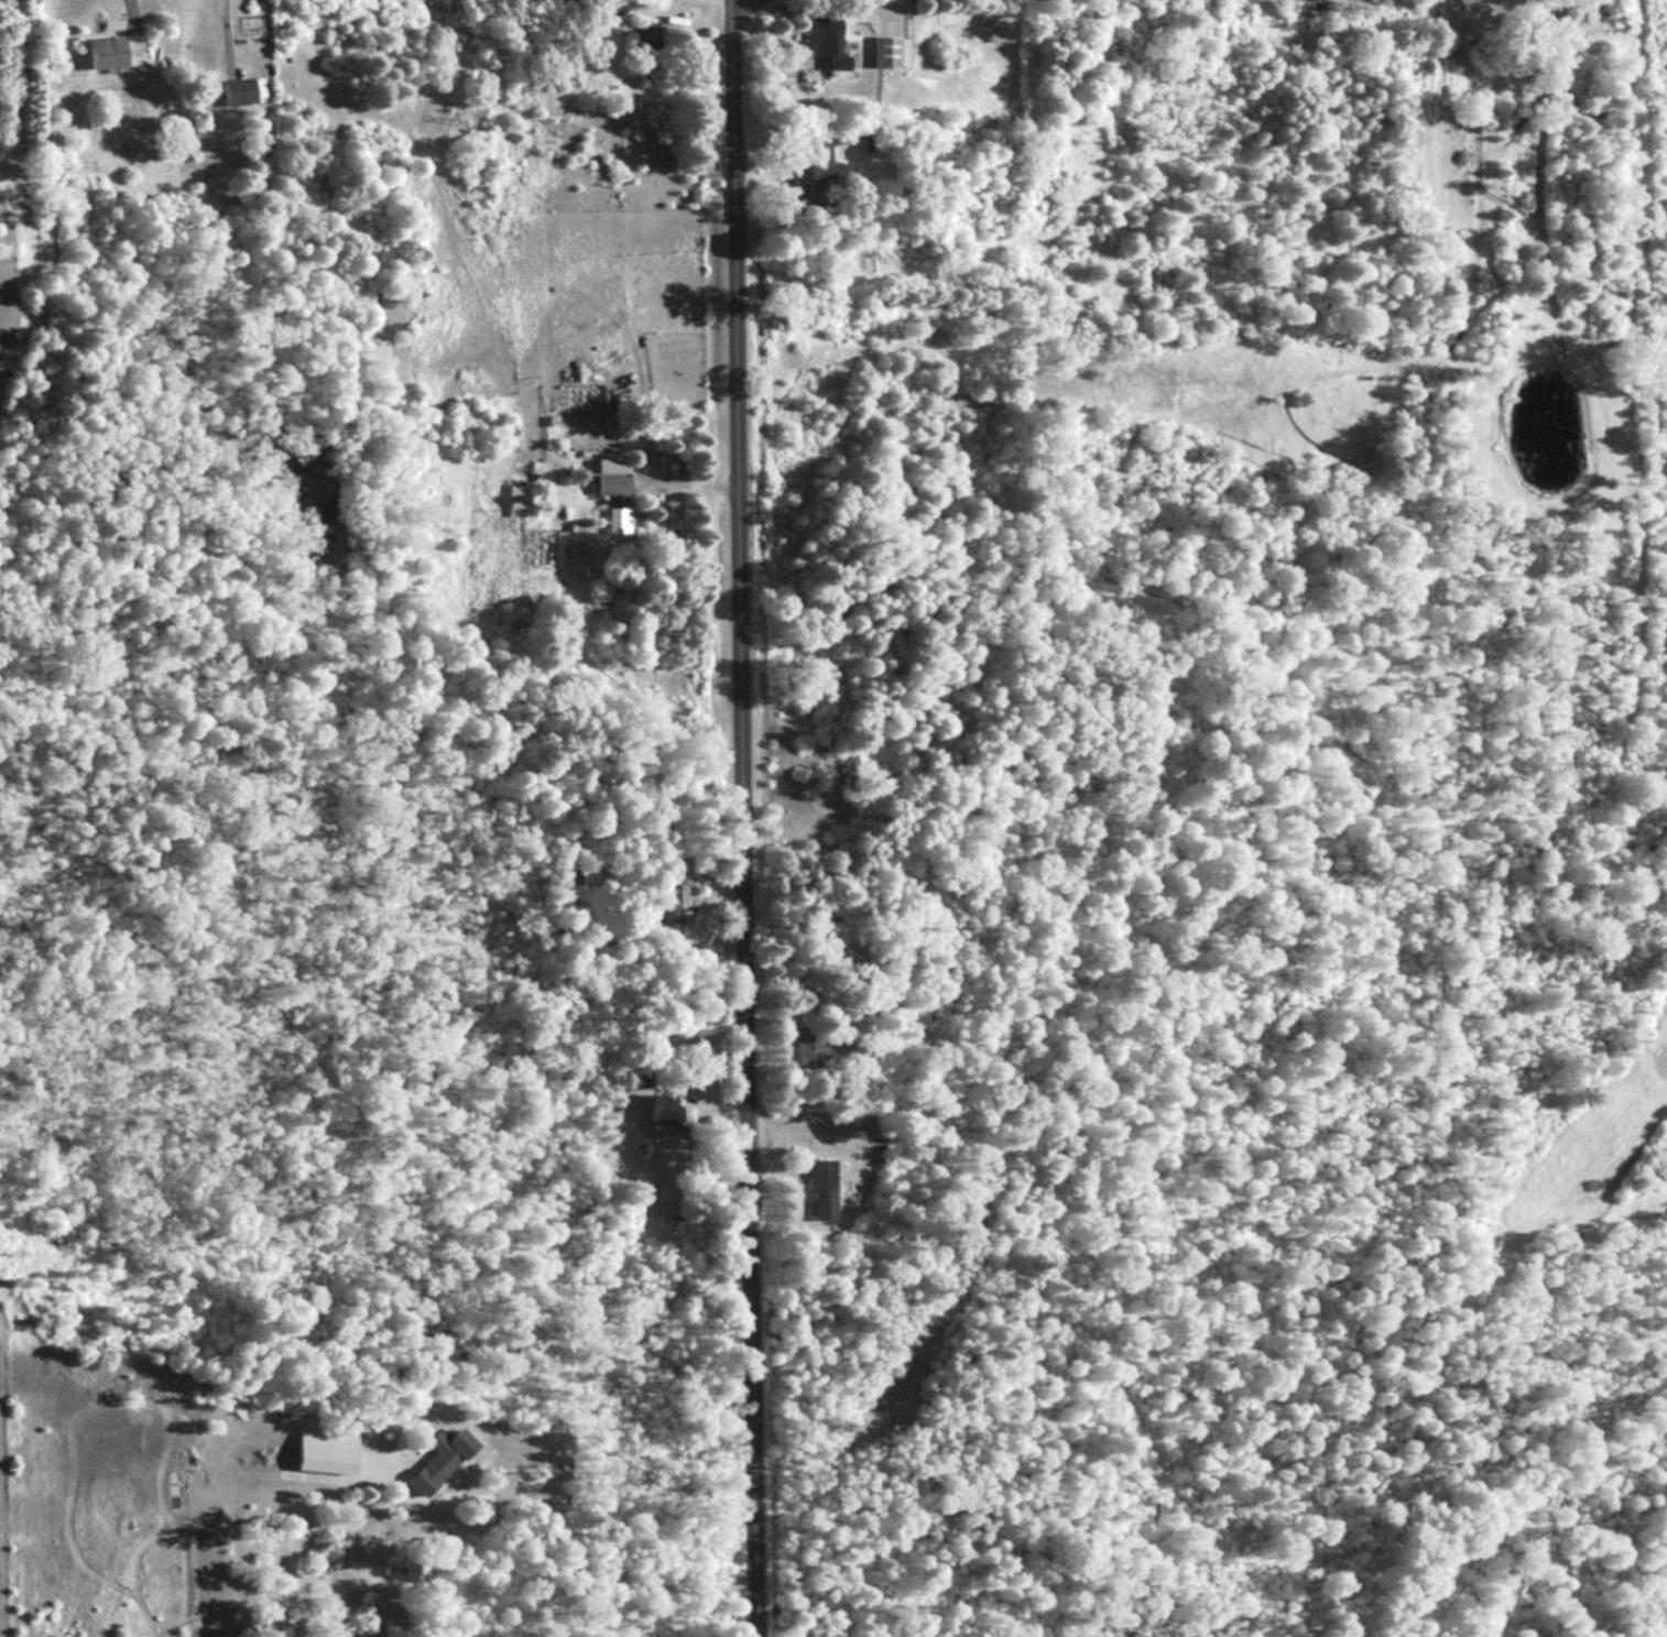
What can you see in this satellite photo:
building: (640, 34)
building: (603, 39)
building: (821, 43)
building: (881, 51)
building: (101, 52)
building: (239, 90)
building: (818, 165)
building: (608, 484)
building: (515, 495)
building: (614, 520)
road: (743, 818)
building: (664, 908)
building: (838, 1034)
building: (639, 1076)
building: (658, 1110)
building: (817, 1190)
building: (442, 1455)
building: (320, 1460)

